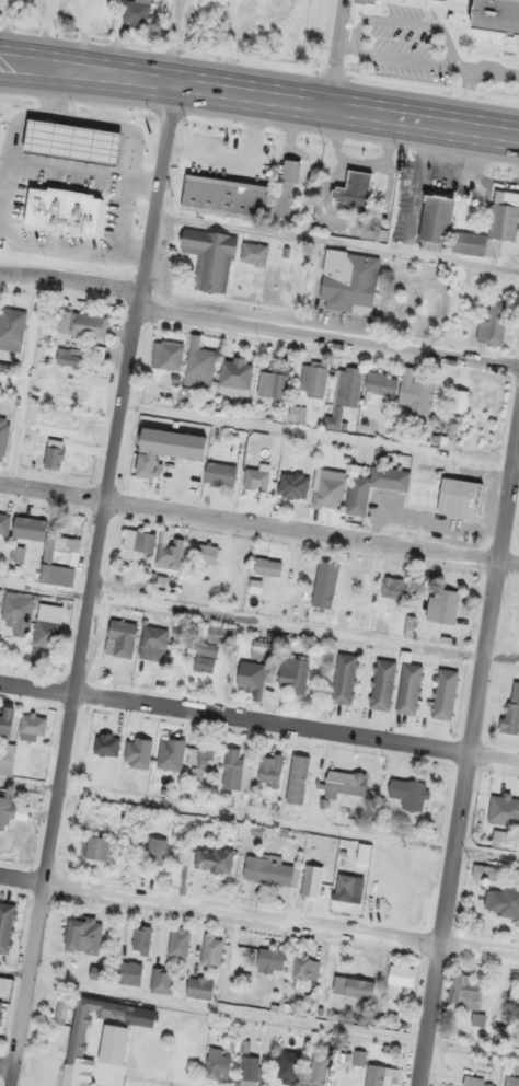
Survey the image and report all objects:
building: (369, 1)
building: (103, 4)
building: (136, 11)
building: (496, 16)
road: (20, 53)
road: (338, 55)
road: (19, 74)
road: (277, 101)
building: (71, 142)
building: (286, 187)
building: (354, 192)
road: (155, 195)
building: (223, 197)
building: (64, 210)
building: (436, 219)
building: (491, 227)
building: (253, 254)
building: (210, 258)
building: (349, 281)
building: (431, 307)
building: (494, 323)
building: (82, 324)
building: (12, 328)
road: (255, 331)
building: (168, 355)
building: (69, 356)
building: (199, 363)
building: (235, 376)
building: (313, 379)
building: (273, 382)
building: (380, 388)
building: (415, 393)
building: (345, 395)
building: (297, 413)
building: (58, 428)
building: (3, 436)
building: (165, 449)
road: (515, 466)
building: (291, 470)
building: (220, 474)
building: (359, 488)
building: (330, 489)
building: (460, 498)
road: (106, 500)
building: (4, 523)
road: (258, 528)
building: (141, 542)
building: (50, 551)
building: (207, 553)
building: (18, 554)
building: (171, 554)
building: (268, 566)
building: (325, 584)
building: (394, 588)
building: (0, 596)
building: (442, 605)
building: (18, 613)
building: (45, 633)
building: (120, 639)
building: (153, 644)
building: (212, 647)
building: (259, 649)
building: (293, 673)
building: (251, 675)
building: (344, 679)
building: (382, 684)
building: (408, 689)
building: (445, 694)
building: (511, 709)
building: (7, 723)
road: (258, 725)
building: (32, 727)
building: (131, 739)
building: (170, 753)
road: (470, 754)
building: (7, 759)
building: (199, 764)
building: (235, 771)
building: (270, 771)
building: (344, 783)
building: (408, 794)
building: (13, 810)
building: (504, 810)
building: (504, 839)
building: (95, 847)
building: (157, 852)
building: (214, 859)
building: (270, 871)
building: (484, 873)
road: (41, 890)
building: (503, 901)
road: (258, 922)
building: (5, 926)
building: (83, 935)
building: (141, 938)
building: (178, 941)
building: (211, 950)
building: (270, 961)
building: (305, 968)
road: (13, 971)
building: (129, 972)
building: (399, 979)
building: (161, 981)
building: (199, 987)
building: (354, 987)
building: (465, 991)
building: (1, 1010)
building: (61, 1013)
building: (501, 1035)
building: (84, 1039)
building: (218, 1064)
building: (288, 1067)
road: (7, 1068)
building: (318, 1070)
building: (250, 1071)
building: (381, 1076)
building: (511, 1081)
building: (477, 1082)

